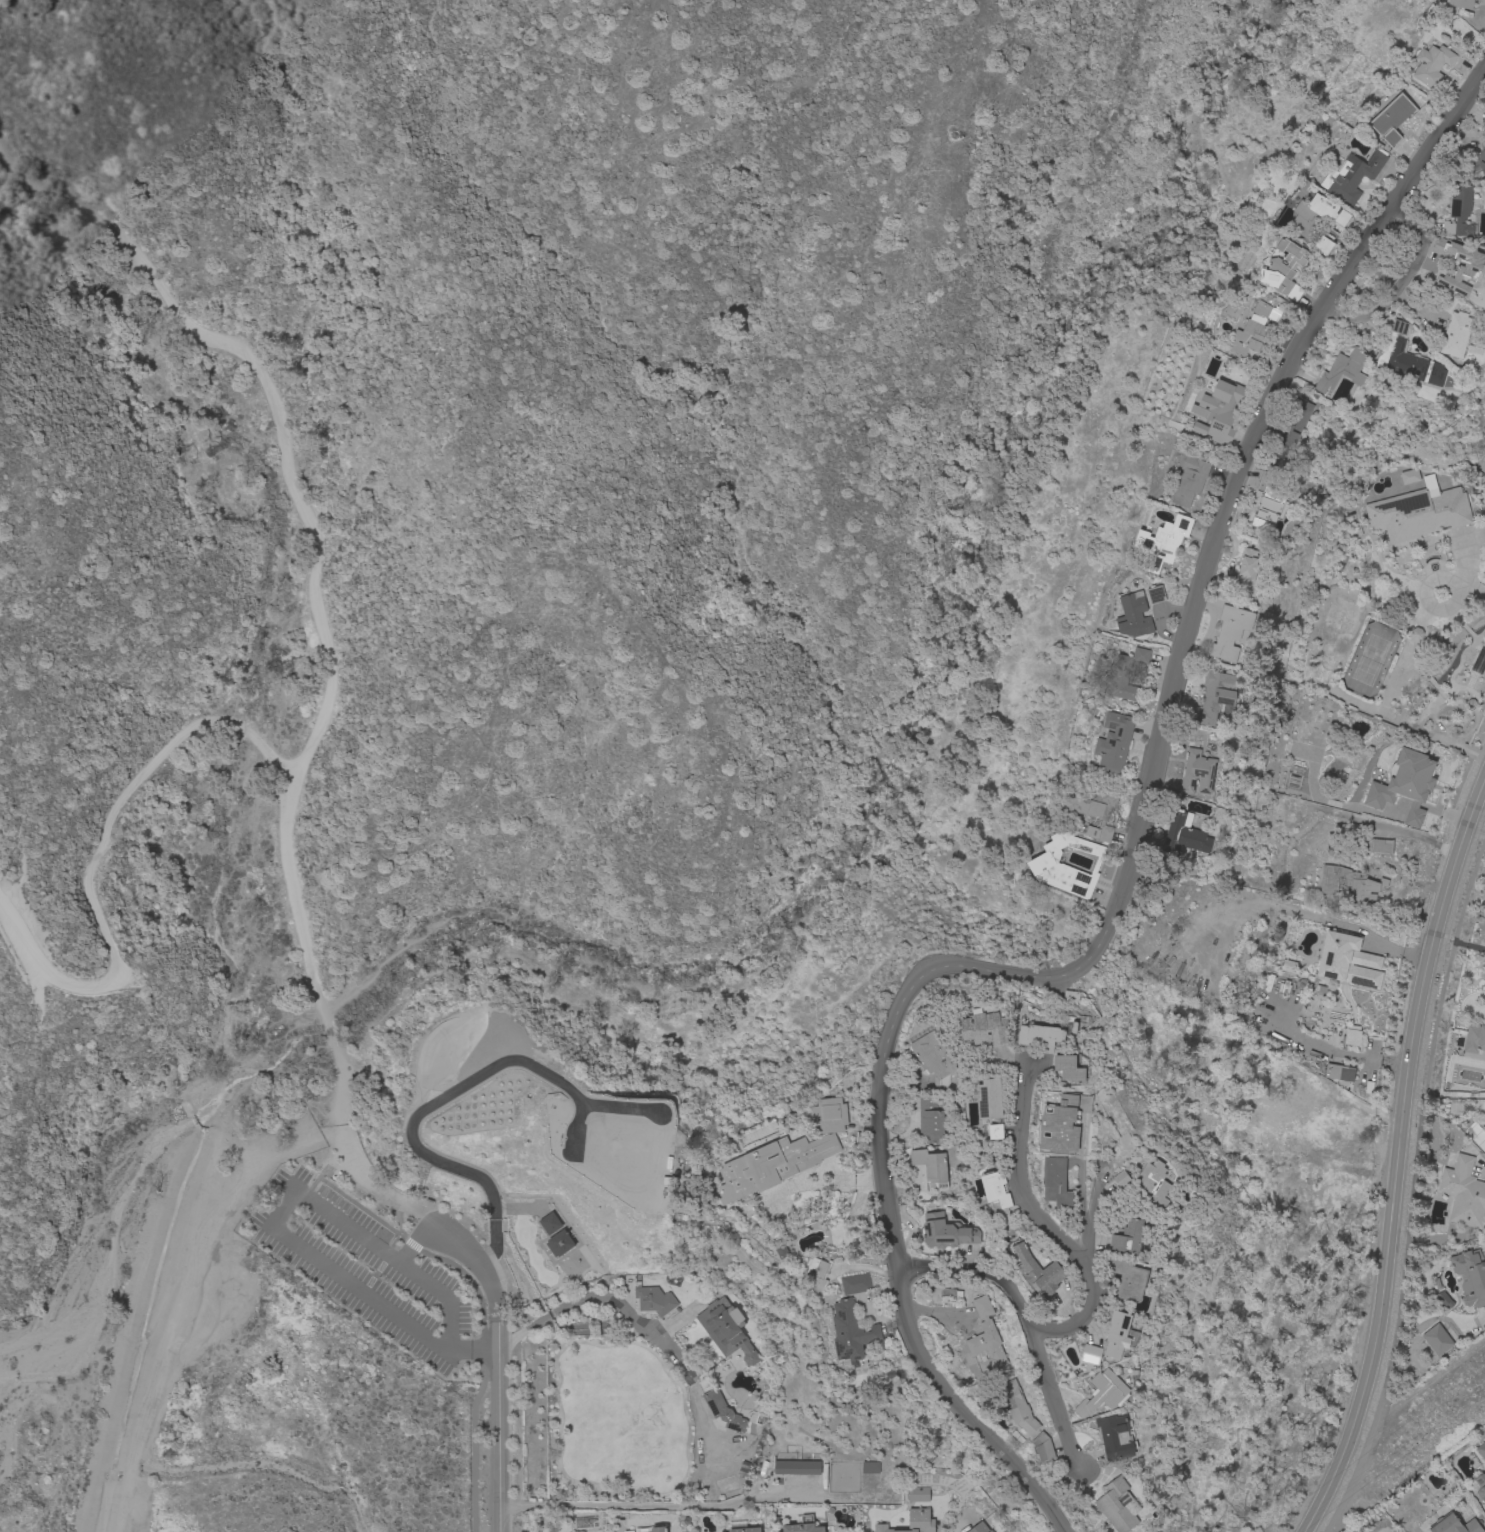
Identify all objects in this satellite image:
building: (1460, 4)
building: (1431, 65)
building: (1391, 119)
building: (1478, 161)
building: (1352, 176)
building: (1459, 212)
building: (1315, 216)
building: (1323, 246)
building: (1284, 270)
building: (1465, 272)
building: (1436, 276)
road: (1399, 283)
building: (1261, 309)
building: (1399, 327)
building: (1454, 330)
building: (1247, 338)
building: (1410, 364)
building: (1342, 371)
building: (1217, 412)
building: (1291, 432)
building: (1189, 480)
building: (1268, 504)
road: (1225, 510)
building: (1418, 513)
building: (1161, 543)
building: (1247, 567)
road: (1472, 586)
building: (1156, 595)
building: (1133, 615)
road: (319, 621)
building: (1230, 632)
building: (1416, 634)
road: (1411, 655)
building: (1125, 675)
building: (1216, 697)
building: (1113, 743)
building: (1197, 773)
building: (1404, 786)
building: (1095, 811)
road: (1394, 830)
building: (1184, 835)
building: (1380, 846)
road: (97, 858)
building: (1065, 866)
building: (1350, 885)
building: (1345, 961)
building: (1288, 966)
building: (1070, 995)
building: (984, 1029)
building: (1040, 1037)
building: (1351, 1038)
building: (1474, 1043)
building: (933, 1055)
road: (1342, 1055)
building: (1069, 1068)
building: (1339, 1073)
building: (989, 1099)
building: (829, 1115)
road: (414, 1117)
building: (930, 1121)
building: (1061, 1126)
building: (1483, 1129)
building: (995, 1132)
road: (1397, 1155)
building: (772, 1165)
building: (931, 1166)
building: (1121, 1179)
building: (1056, 1182)
building: (1154, 1183)
road: (811, 1184)
road: (1412, 1188)
building: (995, 1190)
building: (1463, 1193)
road: (884, 1209)
building: (851, 1210)
road: (276, 1221)
building: (549, 1223)
road: (1043, 1228)
building: (945, 1232)
road: (1086, 1235)
building: (1128, 1238)
road: (413, 1240)
building: (559, 1242)
building: (782, 1252)
parking lot: (368, 1263)
building: (818, 1272)
building: (1038, 1272)
road: (974, 1273)
building: (1470, 1276)
building: (1128, 1279)
building: (855, 1284)
building: (948, 1297)
building: (653, 1300)
building: (726, 1330)
building: (851, 1331)
building: (1117, 1334)
building: (985, 1336)
road: (655, 1338)
building: (1437, 1340)
road: (498, 1352)
building: (1090, 1353)
building: (1103, 1394)
road: (1053, 1402)
building: (1017, 1407)
building: (723, 1411)
building: (1115, 1437)
building: (1043, 1447)
building: (1481, 1450)
building: (797, 1467)
building: (869, 1467)
building: (1480, 1487)
building: (917, 1494)
building: (1117, 1505)
road: (658, 1506)
building: (912, 1522)
road: (960, 1523)
building: (802, 1525)
building: (1453, 1525)
building: (741, 1527)
building: (979, 1528)
building: (658, 1529)
building: (628, 1531)

